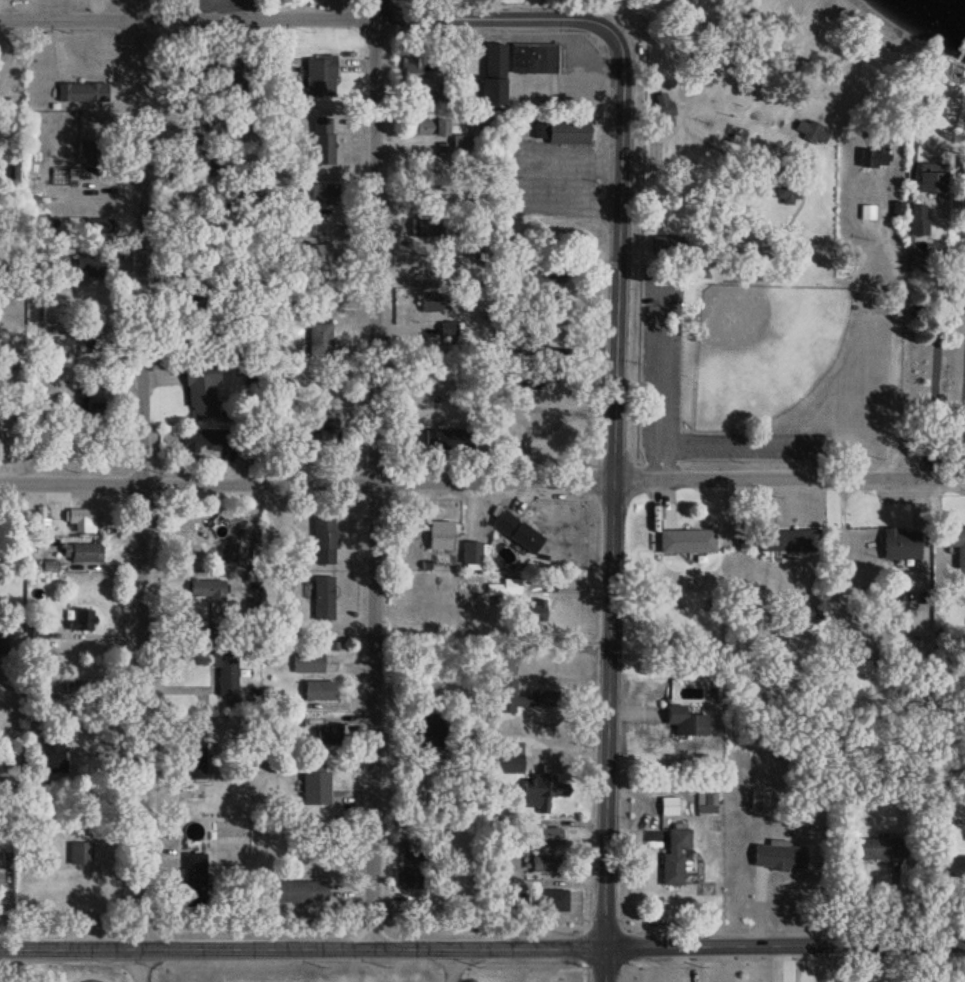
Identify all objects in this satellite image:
road: (140, 9)
road: (375, 9)
road: (614, 16)
road: (308, 19)
building: (533, 57)
building: (198, 68)
building: (410, 70)
building: (227, 72)
building: (493, 74)
building: (319, 75)
building: (82, 91)
building: (436, 100)
building: (664, 115)
building: (559, 124)
building: (204, 126)
building: (427, 126)
building: (811, 130)
building: (322, 140)
building: (460, 141)
building: (88, 151)
building: (873, 155)
building: (193, 158)
building: (962, 170)
road: (523, 174)
building: (930, 181)
building: (320, 194)
building: (422, 195)
building: (97, 224)
building: (425, 227)
building: (919, 229)
park: (754, 236)
building: (666, 244)
building: (317, 259)
building: (91, 264)
building: (543, 274)
building: (50, 282)
building: (193, 299)
building: (434, 299)
building: (551, 333)
building: (318, 339)
building: (94, 342)
road: (892, 344)
building: (518, 346)
park: (762, 348)
parking lot: (660, 350)
road: (934, 364)
road: (661, 380)
building: (200, 390)
building: (93, 404)
road: (960, 404)
building: (324, 429)
building: (300, 430)
road: (733, 437)
building: (204, 440)
building: (435, 440)
building: (456, 442)
road: (372, 483)
road: (482, 483)
road: (139, 484)
road: (610, 506)
building: (82, 518)
building: (503, 522)
building: (439, 535)
building: (525, 536)
building: (801, 539)
building: (324, 540)
building: (685, 540)
building: (956, 543)
building: (899, 544)
building: (80, 552)
building: (472, 553)
road: (230, 569)
building: (206, 589)
building: (322, 597)
building: (529, 611)
building: (81, 619)
building: (37, 635)
building: (3, 643)
building: (306, 663)
building: (223, 670)
building: (854, 673)
building: (318, 691)
building: (77, 693)
building: (534, 699)
building: (685, 721)
building: (431, 729)
building: (327, 735)
building: (51, 751)
building: (508, 763)
building: (194, 767)
building: (313, 782)
building: (537, 790)
building: (706, 800)
building: (758, 800)
building: (544, 836)
building: (877, 848)
building: (79, 853)
building: (778, 855)
building: (673, 856)
building: (409, 862)
building: (544, 863)
building: (952, 865)
building: (191, 879)
building: (0, 882)
building: (300, 890)
building: (550, 899)
road: (482, 948)
road: (140, 965)
road: (453, 965)

